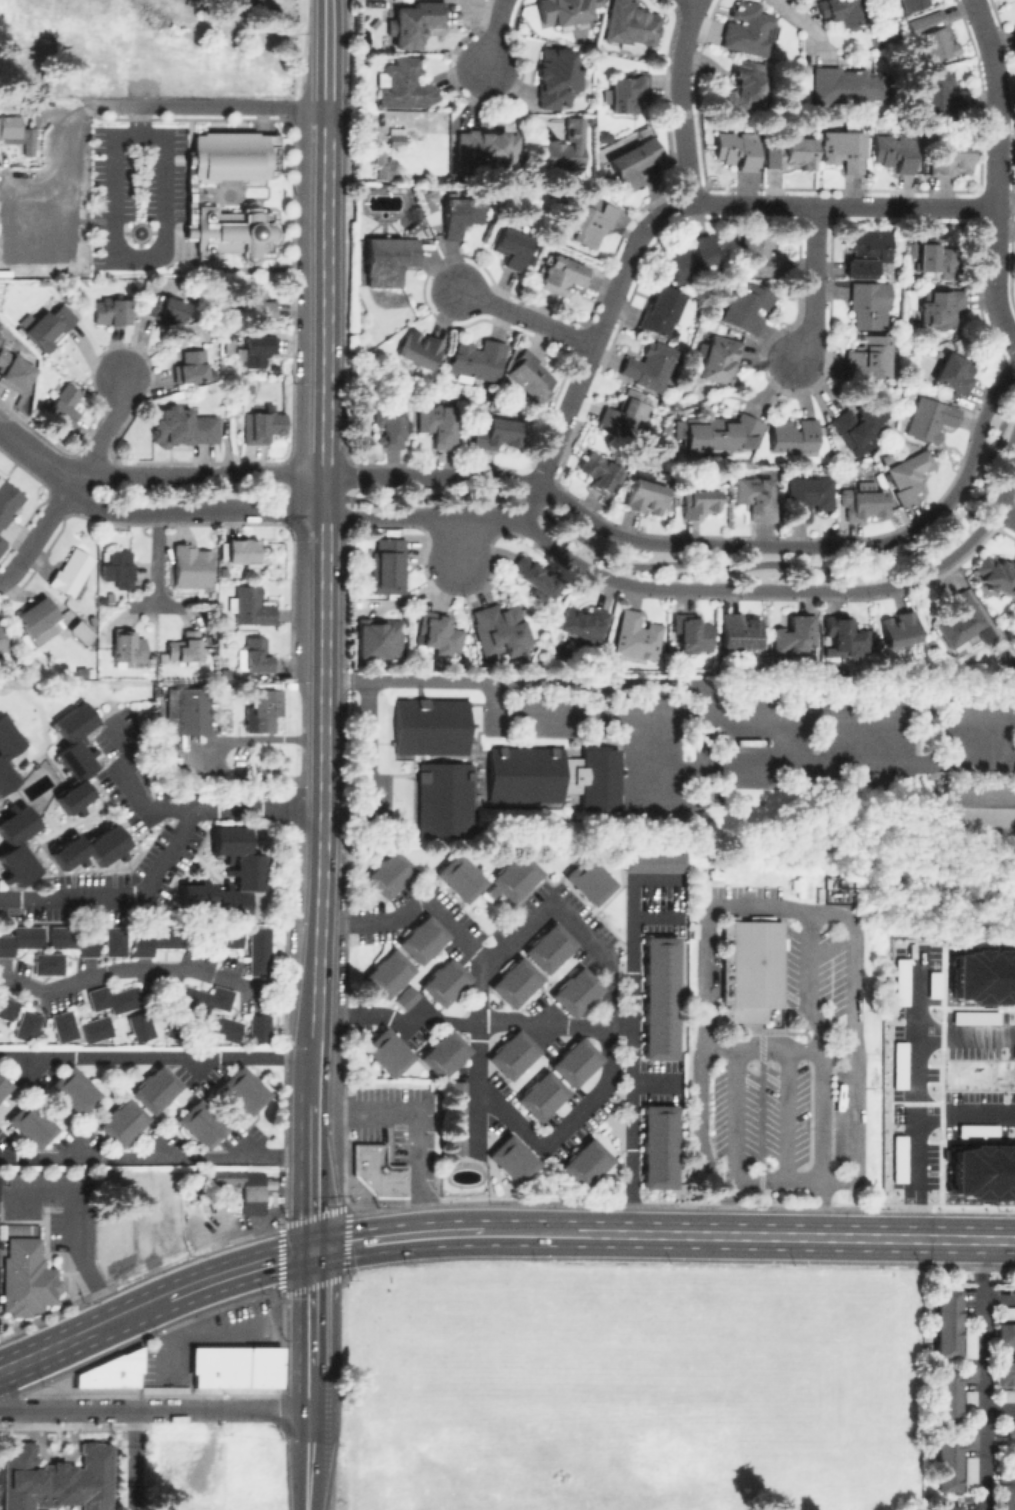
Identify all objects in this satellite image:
road: (696, 0)
building: (912, 4)
building: (564, 11)
building: (841, 12)
building: (413, 23)
building: (632, 26)
road: (800, 26)
building: (747, 28)
road: (495, 33)
building: (933, 35)
building: (881, 40)
road: (329, 54)
building: (558, 76)
building: (406, 84)
building: (846, 86)
building: (741, 89)
building: (627, 91)
building: (941, 94)
road: (677, 99)
road: (219, 106)
building: (15, 133)
building: (394, 136)
road: (58, 139)
road: (329, 145)
building: (565, 146)
building: (485, 148)
building: (736, 149)
building: (844, 149)
building: (895, 151)
building: (789, 152)
building: (270, 153)
building: (227, 155)
building: (637, 157)
building: (951, 159)
building: (382, 166)
road: (992, 174)
building: (429, 200)
building: (463, 214)
road: (655, 215)
building: (588, 219)
building: (229, 231)
building: (512, 247)
building: (868, 250)
road: (124, 252)
building: (760, 254)
building: (936, 256)
building: (390, 258)
building: (691, 259)
building: (563, 275)
road: (810, 283)
building: (165, 304)
building: (257, 304)
building: (870, 304)
building: (745, 307)
building: (942, 307)
building: (110, 310)
building: (662, 310)
road: (523, 316)
building: (49, 325)
road: (328, 328)
building: (226, 346)
building: (419, 348)
building: (258, 350)
building: (869, 357)
building: (478, 359)
building: (720, 360)
building: (191, 366)
building: (649, 366)
building: (14, 371)
building: (530, 373)
building: (951, 375)
building: (62, 402)
building: (626, 413)
building: (930, 419)
building: (434, 423)
building: (259, 425)
building: (386, 426)
building: (855, 426)
building: (180, 427)
road: (104, 432)
building: (493, 433)
building: (721, 434)
building: (793, 434)
road: (36, 457)
street lamp: (408, 465)
building: (599, 470)
road: (199, 471)
building: (909, 475)
road: (430, 495)
building: (645, 496)
building: (756, 497)
building: (805, 497)
building: (9, 501)
road: (526, 503)
building: (698, 503)
building: (865, 504)
road: (194, 510)
street lamp: (596, 515)
road: (1005, 515)
road: (38, 534)
street lamp: (725, 536)
road: (454, 540)
road: (713, 543)
building: (3, 547)
building: (244, 552)
building: (117, 566)
building: (191, 566)
building: (388, 567)
road: (813, 567)
road: (153, 569)
building: (223, 572)
building: (994, 572)
building: (70, 575)
road: (326, 576)
building: (536, 577)
road: (700, 587)
street lamp: (462, 596)
street lamp: (865, 598)
road: (166, 603)
building: (251, 608)
building: (35, 614)
building: (960, 619)
building: (582, 621)
building: (900, 627)
building: (498, 630)
building: (78, 631)
building: (736, 631)
building: (439, 632)
building: (691, 632)
building: (845, 634)
building: (794, 635)
building: (636, 637)
building: (379, 638)
building: (3, 639)
building: (127, 646)
building: (185, 648)
building: (255, 657)
building: (225, 673)
road: (676, 683)
building: (261, 709)
building: (186, 711)
building: (428, 726)
building: (7, 752)
building: (74, 755)
road: (369, 767)
building: (522, 774)
road: (133, 789)
building: (442, 800)
road: (325, 802)
building: (978, 812)
building: (15, 845)
building: (91, 848)
road: (163, 852)
building: (655, 863)
building: (243, 871)
building: (389, 875)
building: (461, 878)
building: (518, 878)
building: (588, 880)
road: (785, 907)
building: (225, 936)
road: (585, 936)
building: (19, 938)
building: (69, 939)
building: (112, 940)
building: (154, 940)
building: (424, 940)
building: (549, 946)
building: (257, 950)
road: (320, 959)
building: (46, 963)
building: (748, 967)
road: (159, 968)
building: (388, 973)
building: (984, 977)
road: (808, 979)
building: (446, 983)
building: (514, 983)
building: (576, 995)
building: (112, 998)
building: (202, 998)
building: (406, 999)
building: (661, 999)
building: (5, 1007)
road: (318, 1016)
road: (474, 1022)
building: (25, 1025)
building: (62, 1025)
building: (139, 1025)
building: (256, 1027)
building: (94, 1028)
building: (178, 1028)
building: (224, 1028)
road: (966, 1041)
road: (777, 1047)
building: (387, 1052)
building: (443, 1054)
building: (513, 1056)
road: (631, 1056)
road: (158, 1057)
road: (477, 1057)
building: (577, 1063)
road: (316, 1071)
building: (3, 1084)
building: (153, 1088)
building: (73, 1089)
building: (242, 1089)
road: (916, 1095)
building: (541, 1098)
road: (737, 1114)
road: (783, 1114)
road: (819, 1116)
building: (459, 1118)
road: (965, 1118)
building: (120, 1121)
building: (30, 1123)
building: (200, 1124)
building: (963, 1125)
road: (413, 1126)
parking lot: (401, 1128)
building: (660, 1147)
road: (156, 1157)
building: (513, 1159)
building: (585, 1163)
building: (375, 1171)
building: (983, 1173)
road: (313, 1177)
road: (770, 1179)
building: (250, 1191)
road: (77, 1226)
road: (697, 1235)
road: (396, 1237)
road: (964, 1239)
traffic signals: (313, 1251)
road: (259, 1264)
building: (27, 1277)
road: (167, 1296)
road: (998, 1296)
road: (313, 1308)
building: (1005, 1312)
building: (946, 1323)
road: (224, 1332)
building: (1004, 1335)
road: (68, 1340)
building: (969, 1341)
building: (233, 1365)
road: (3, 1368)
building: (111, 1370)
building: (1004, 1373)
road: (981, 1374)
road: (312, 1387)
building: (950, 1393)
building: (1006, 1398)
building: (969, 1402)
road: (72, 1409)
road: (229, 1409)
road: (998, 1411)
building: (1011, 1428)
road: (133, 1459)
road: (309, 1459)
building: (950, 1459)
building: (969, 1475)
building: (56, 1480)
building: (1006, 1496)
building: (949, 1507)

